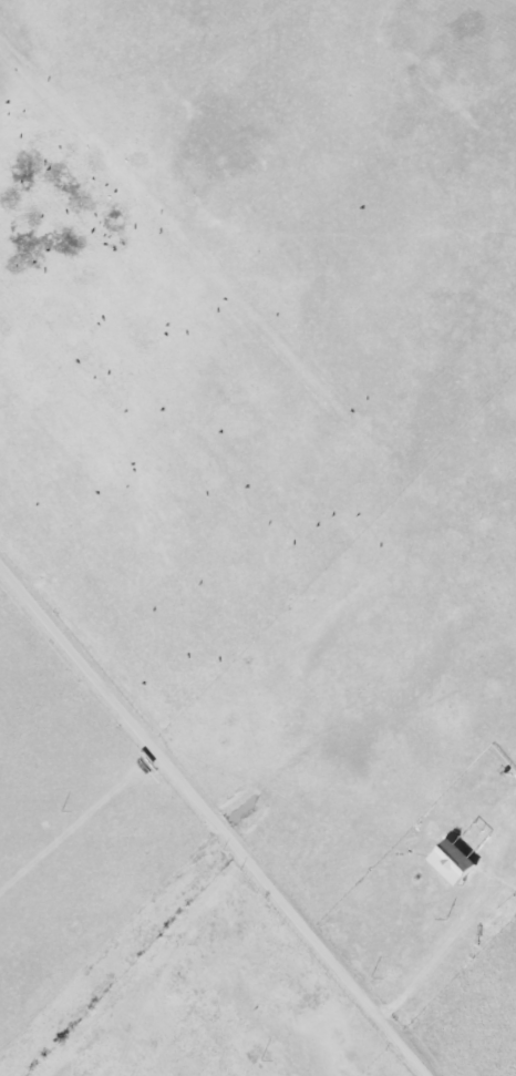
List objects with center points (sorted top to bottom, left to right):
road: (210, 826)
building: (457, 859)

